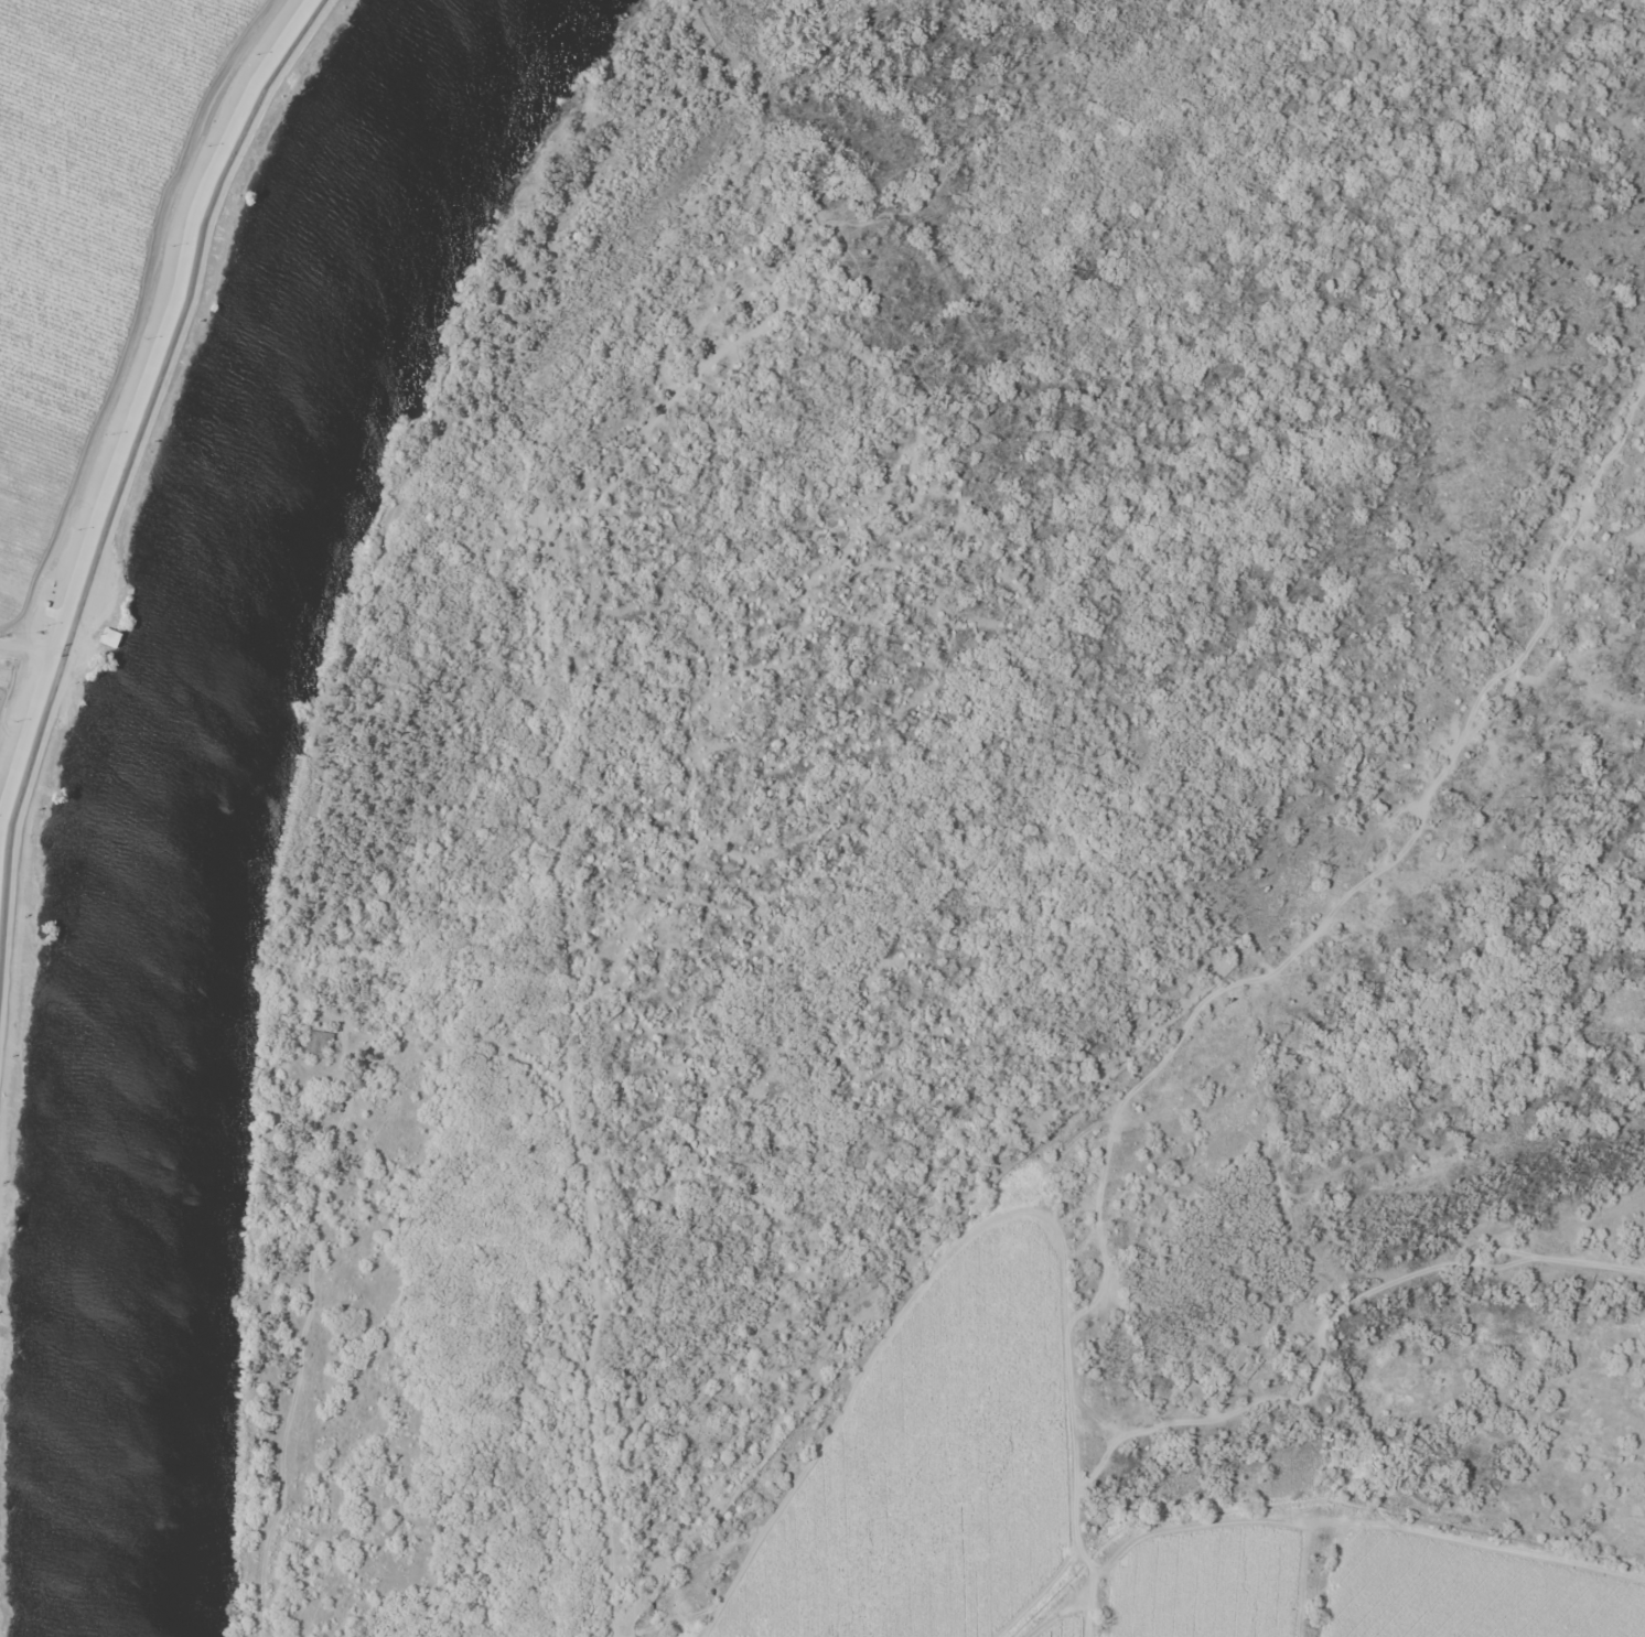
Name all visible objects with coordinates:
road: (125, 364)
road: (133, 414)
road: (29, 639)
road: (73, 644)
river: (196, 794)
building: (324, 1048)

